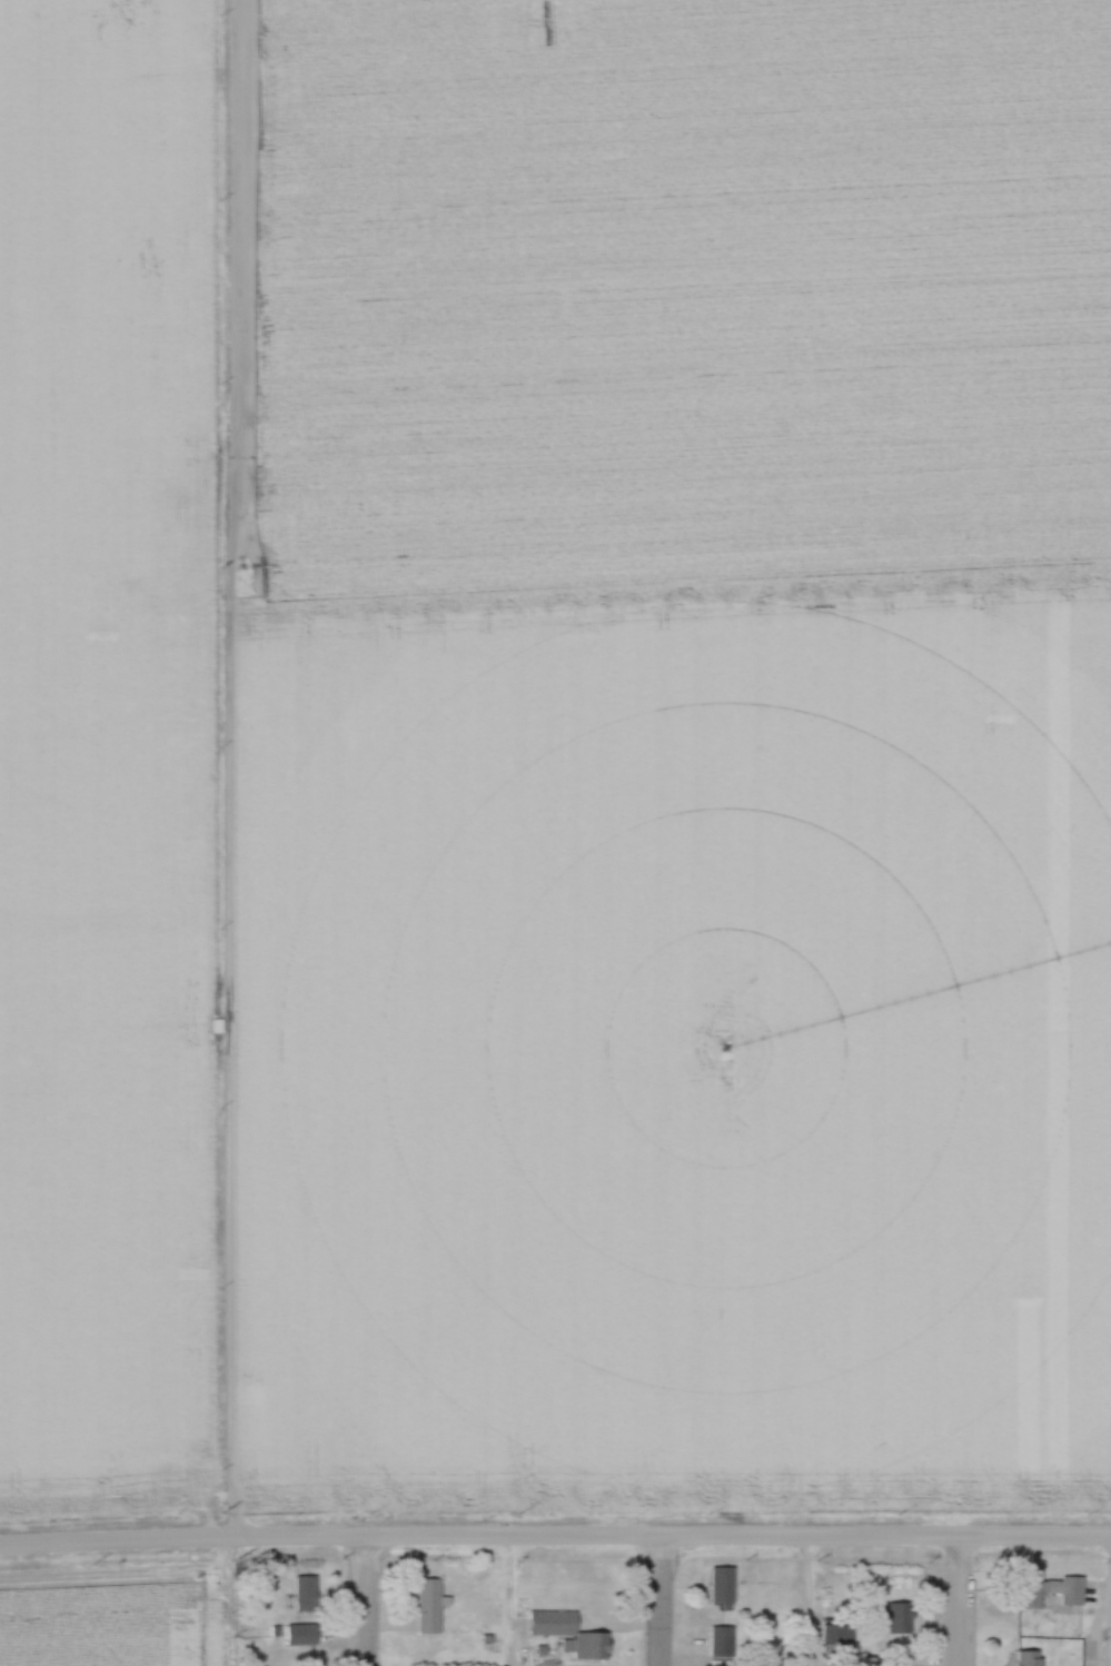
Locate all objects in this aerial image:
road: (740, 1539)
road: (185, 1543)
building: (724, 1587)
building: (1057, 1591)
building: (307, 1595)
road: (369, 1603)
road: (663, 1603)
road: (810, 1603)
road: (959, 1603)
building: (430, 1608)
building: (901, 1619)
building: (569, 1634)
building: (304, 1637)
building: (724, 1644)
building: (1030, 1659)

